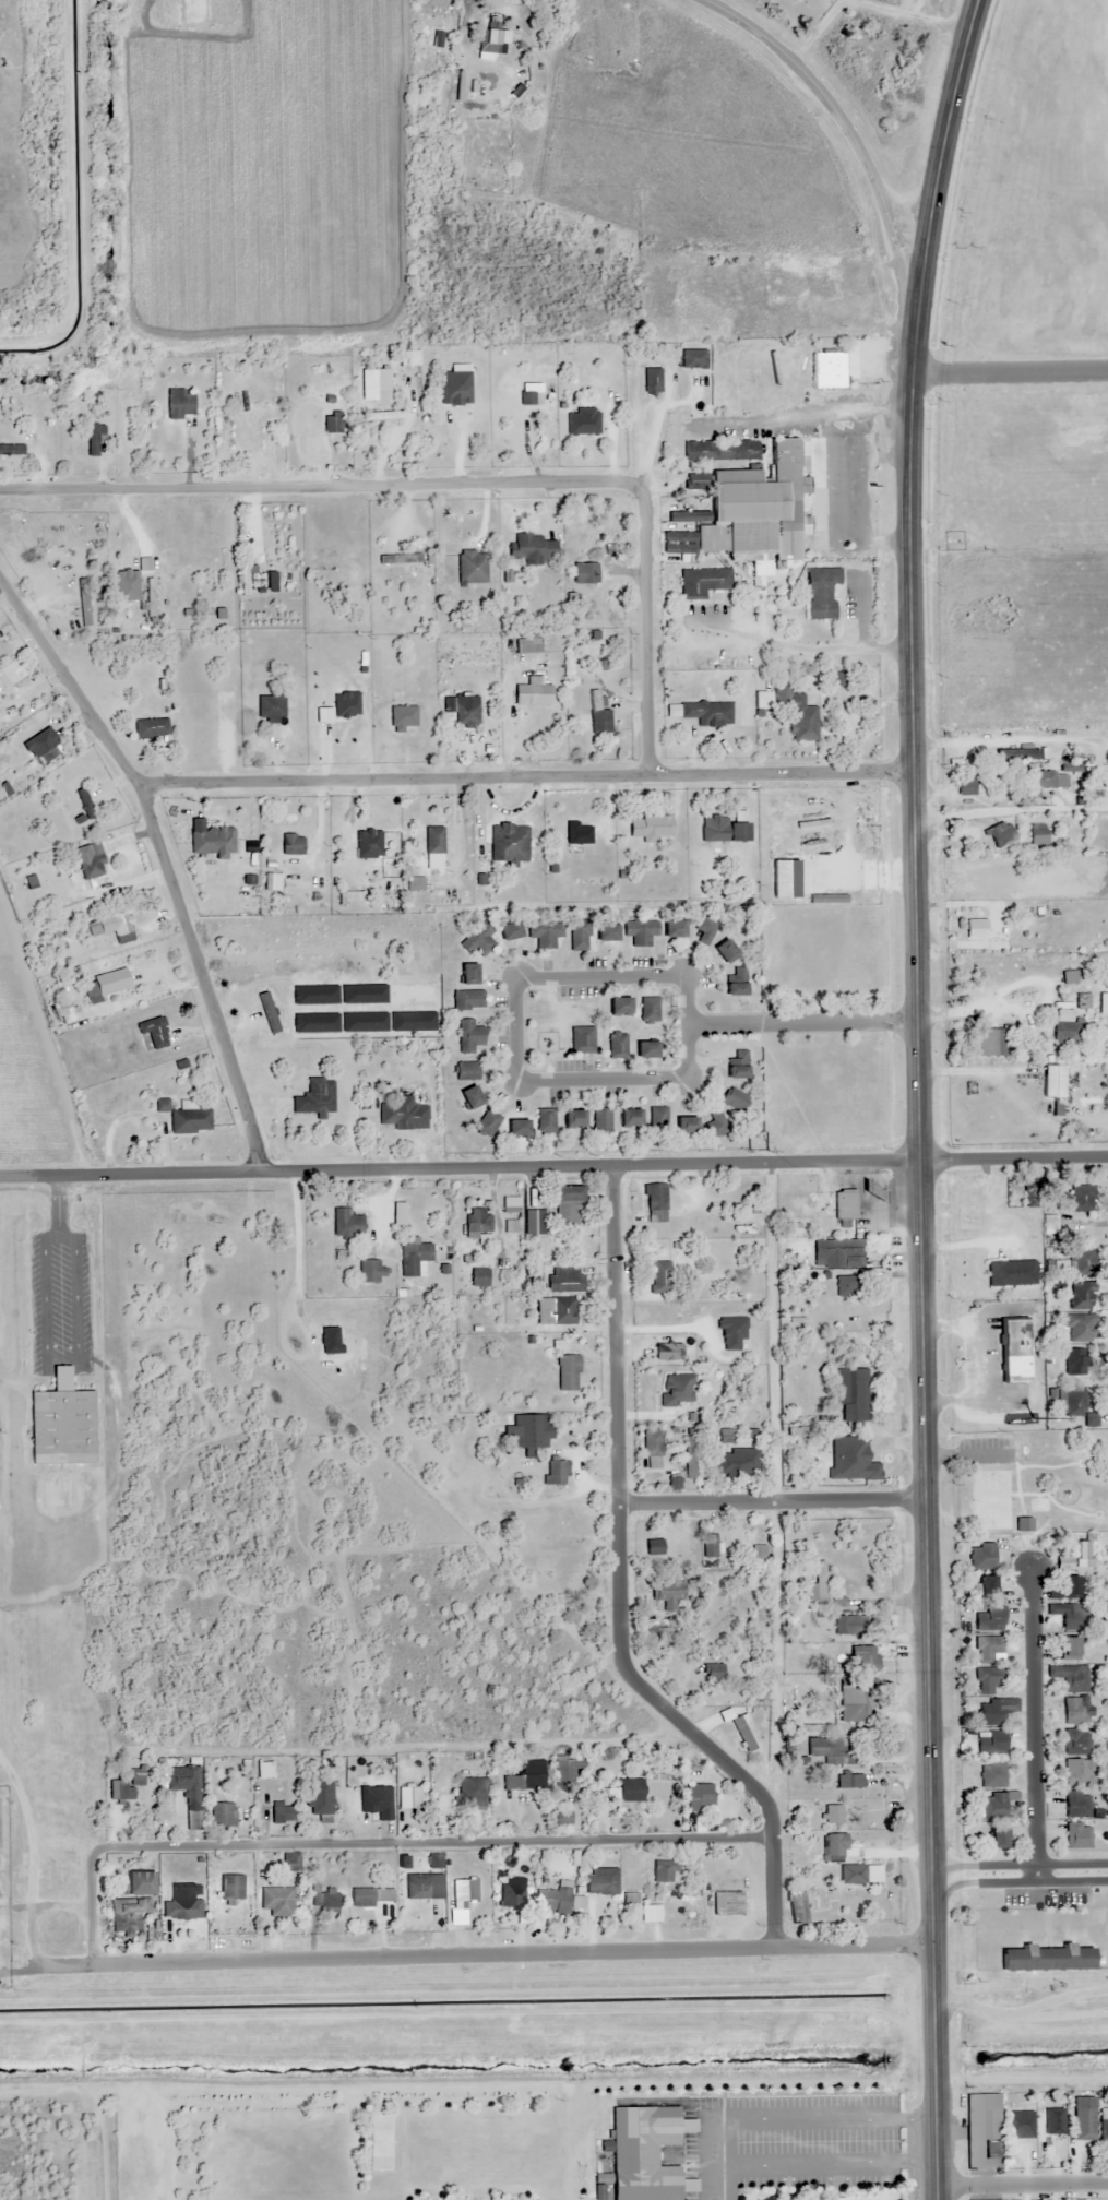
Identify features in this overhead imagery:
building: (490, 43)
road: (849, 126)
road: (948, 150)
building: (748, 276)
building: (829, 287)
building: (693, 359)
building: (829, 371)
building: (374, 380)
building: (652, 381)
building: (455, 391)
building: (526, 395)
building: (181, 403)
building: (262, 407)
building: (384, 418)
building: (332, 423)
building: (582, 423)
building: (95, 439)
building: (12, 449)
building: (741, 450)
building: (702, 451)
road: (466, 484)
building: (754, 504)
building: (687, 516)
building: (678, 544)
building: (533, 548)
building: (327, 550)
building: (400, 559)
building: (472, 567)
building: (585, 573)
building: (258, 582)
building: (703, 582)
building: (147, 591)
building: (821, 593)
building: (85, 602)
building: (527, 646)
building: (533, 694)
building: (272, 706)
building: (466, 710)
building: (706, 712)
building: (598, 715)
building: (403, 716)
building: (799, 717)
building: (152, 727)
road: (913, 730)
building: (45, 746)
building: (1025, 754)
road: (527, 777)
building: (1041, 782)
building: (1105, 784)
building: (86, 802)
road: (1011, 810)
building: (648, 827)
building: (723, 830)
building: (577, 834)
building: (1000, 834)
building: (1038, 835)
building: (432, 840)
building: (214, 841)
building: (509, 843)
building: (291, 844)
building: (368, 844)
road: (165, 859)
building: (91, 860)
building: (119, 920)
building: (672, 928)
building: (706, 929)
building: (975, 929)
building: (509, 930)
building: (640, 931)
building: (545, 932)
building: (605, 932)
building: (580, 935)
building: (724, 951)
building: (467, 974)
building: (1069, 977)
road: (517, 980)
building: (735, 983)
building: (468, 1000)
building: (1084, 1001)
building: (618, 1006)
building: (64, 1008)
building: (648, 1009)
building: (267, 1012)
road: (805, 1027)
building: (154, 1032)
building: (1067, 1032)
building: (469, 1036)
building: (582, 1039)
building: (997, 1043)
building: (617, 1045)
building: (644, 1049)
building: (737, 1065)
building: (467, 1071)
building: (1052, 1081)
building: (315, 1097)
building: (469, 1097)
building: (736, 1099)
building: (403, 1115)
building: (629, 1118)
building: (658, 1118)
building: (190, 1119)
building: (573, 1119)
building: (546, 1120)
building: (601, 1121)
building: (715, 1121)
building: (488, 1123)
building: (684, 1126)
building: (516, 1129)
road: (553, 1168)
building: (1033, 1194)
building: (1082, 1198)
building: (654, 1203)
building: (844, 1204)
building: (510, 1205)
building: (567, 1205)
building: (534, 1220)
building: (477, 1222)
building: (346, 1223)
building: (1049, 1224)
building: (835, 1252)
building: (414, 1258)
building: (1084, 1263)
building: (370, 1271)
building: (478, 1276)
building: (660, 1277)
building: (565, 1280)
building: (845, 1285)
building: (1081, 1296)
building: (561, 1310)
building: (1080, 1328)
building: (731, 1333)
building: (1014, 1341)
building: (1075, 1361)
building: (568, 1372)
building: (678, 1390)
building: (851, 1395)
building: (1079, 1406)
building: (62, 1423)
building: (532, 1431)
building: (653, 1449)
building: (729, 1456)
building: (690, 1458)
building: (851, 1459)
building: (556, 1472)
road: (777, 1502)
building: (551, 1520)
building: (710, 1546)
building: (654, 1547)
road: (929, 1551)
building: (759, 1556)
building: (981, 1556)
building: (1076, 1556)
building: (565, 1558)
building: (821, 1581)
building: (576, 1582)
building: (986, 1585)
building: (1070, 1586)
road: (622, 1590)
building: (668, 1595)
building: (1067, 1615)
building: (990, 1618)
building: (850, 1626)
building: (1069, 1646)
building: (989, 1648)
building: (865, 1658)
building: (713, 1672)
building: (1071, 1678)
building: (988, 1680)
building: (537, 1696)
building: (854, 1702)
building: (996, 1711)
building: (1076, 1711)
road: (1035, 1722)
building: (991, 1743)
building: (1076, 1743)
building: (829, 1749)
building: (264, 1770)
building: (567, 1772)
building: (1080, 1773)
building: (992, 1774)
building: (525, 1777)
building: (849, 1782)
building: (126, 1785)
building: (629, 1791)
building: (187, 1792)
building: (472, 1793)
building: (600, 1795)
building: (409, 1797)
building: (698, 1797)
building: (320, 1800)
building: (1076, 1805)
building: (993, 1806)
building: (223, 1815)
building: (281, 1815)
building: (834, 1815)
building: (1077, 1836)
building: (996, 1839)
road: (430, 1844)
building: (837, 1850)
building: (665, 1871)
road: (1022, 1877)
building: (600, 1882)
building: (133, 1884)
building: (230, 1887)
building: (417, 1887)
building: (464, 1893)
building: (510, 1894)
building: (826, 1895)
building: (369, 1896)
building: (324, 1899)
building: (276, 1901)
building: (552, 1901)
building: (727, 1904)
building: (182, 1906)
building: (797, 1908)
road: (93, 1916)
building: (129, 1916)
road: (513, 1955)
building: (1046, 1959)
road: (938, 2071)
building: (1086, 2113)
building: (1018, 2125)
building: (1104, 2126)
building: (982, 2131)
building: (645, 2153)
road: (1025, 2186)

